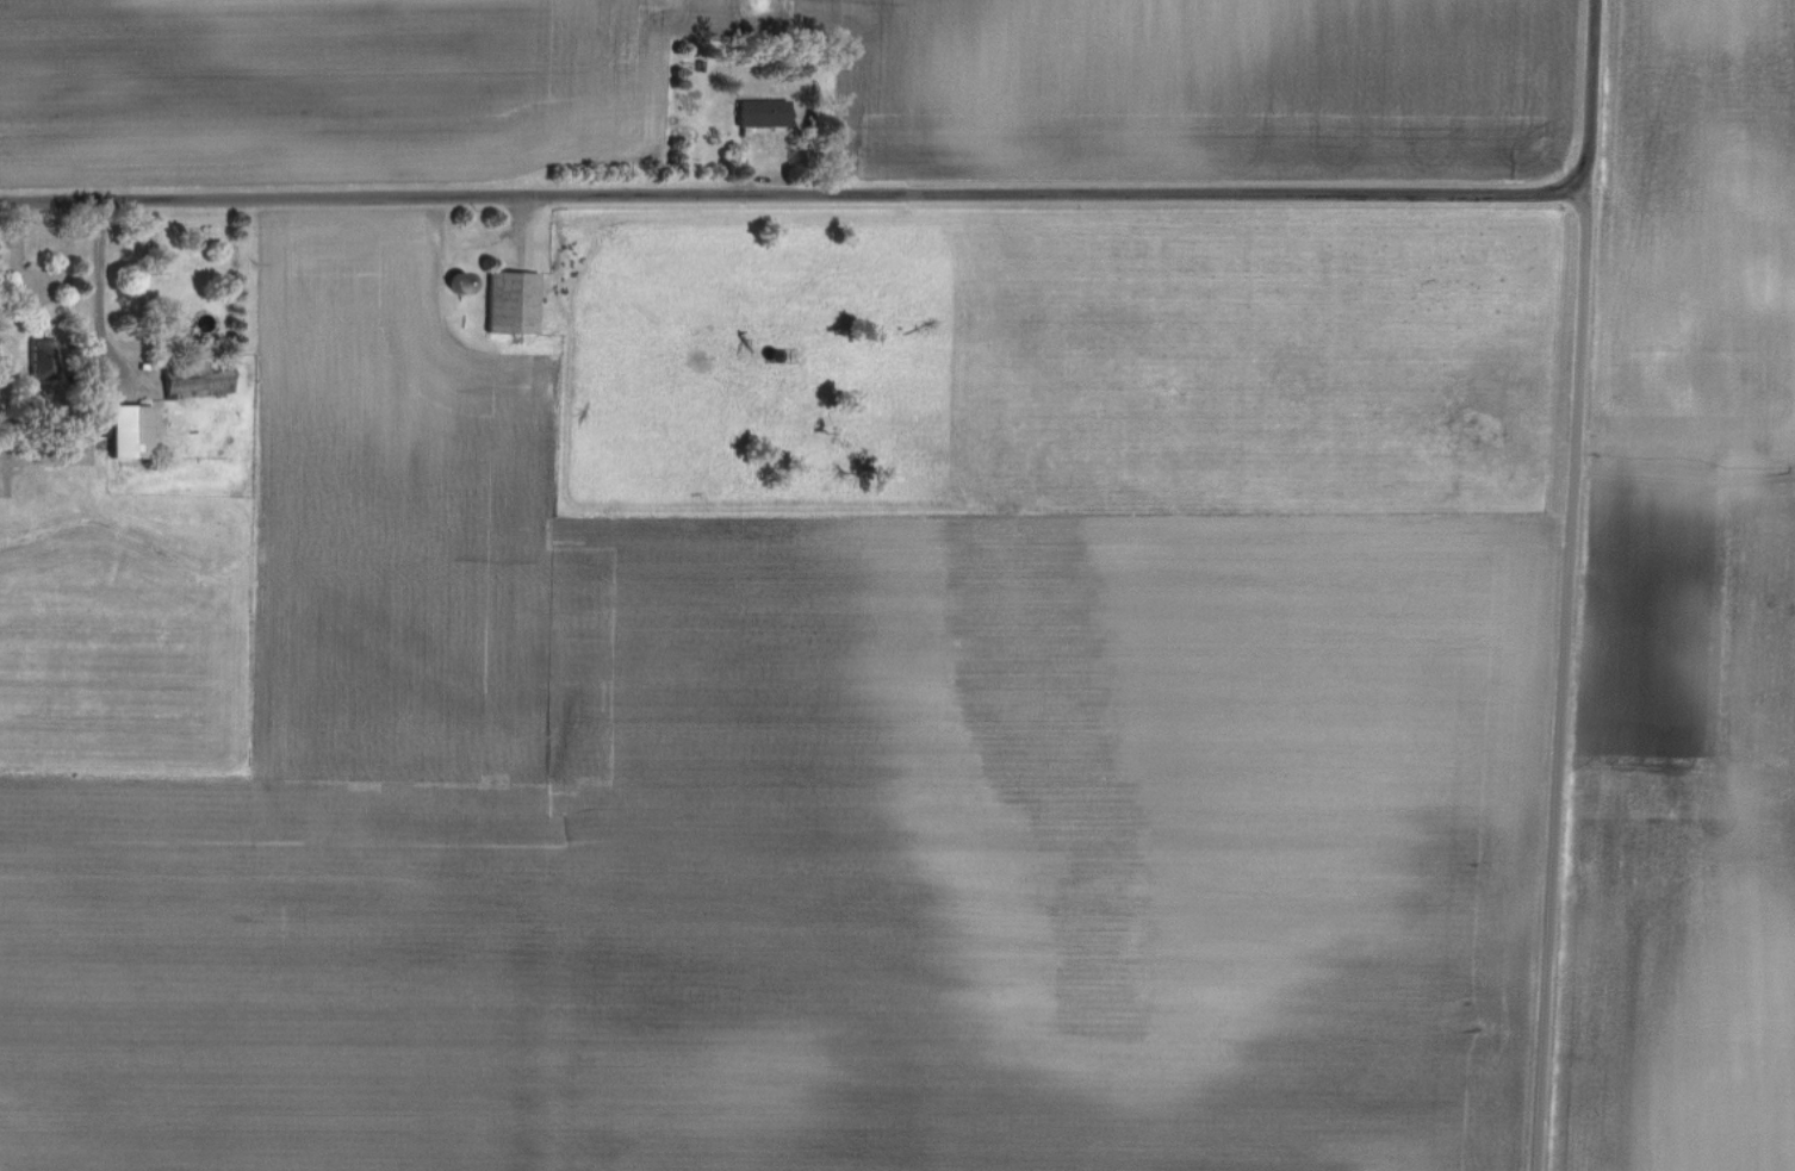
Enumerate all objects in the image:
building: (764, 111)
road: (795, 195)
road: (98, 294)
building: (514, 301)
building: (43, 362)
building: (130, 430)
road: (1570, 585)

